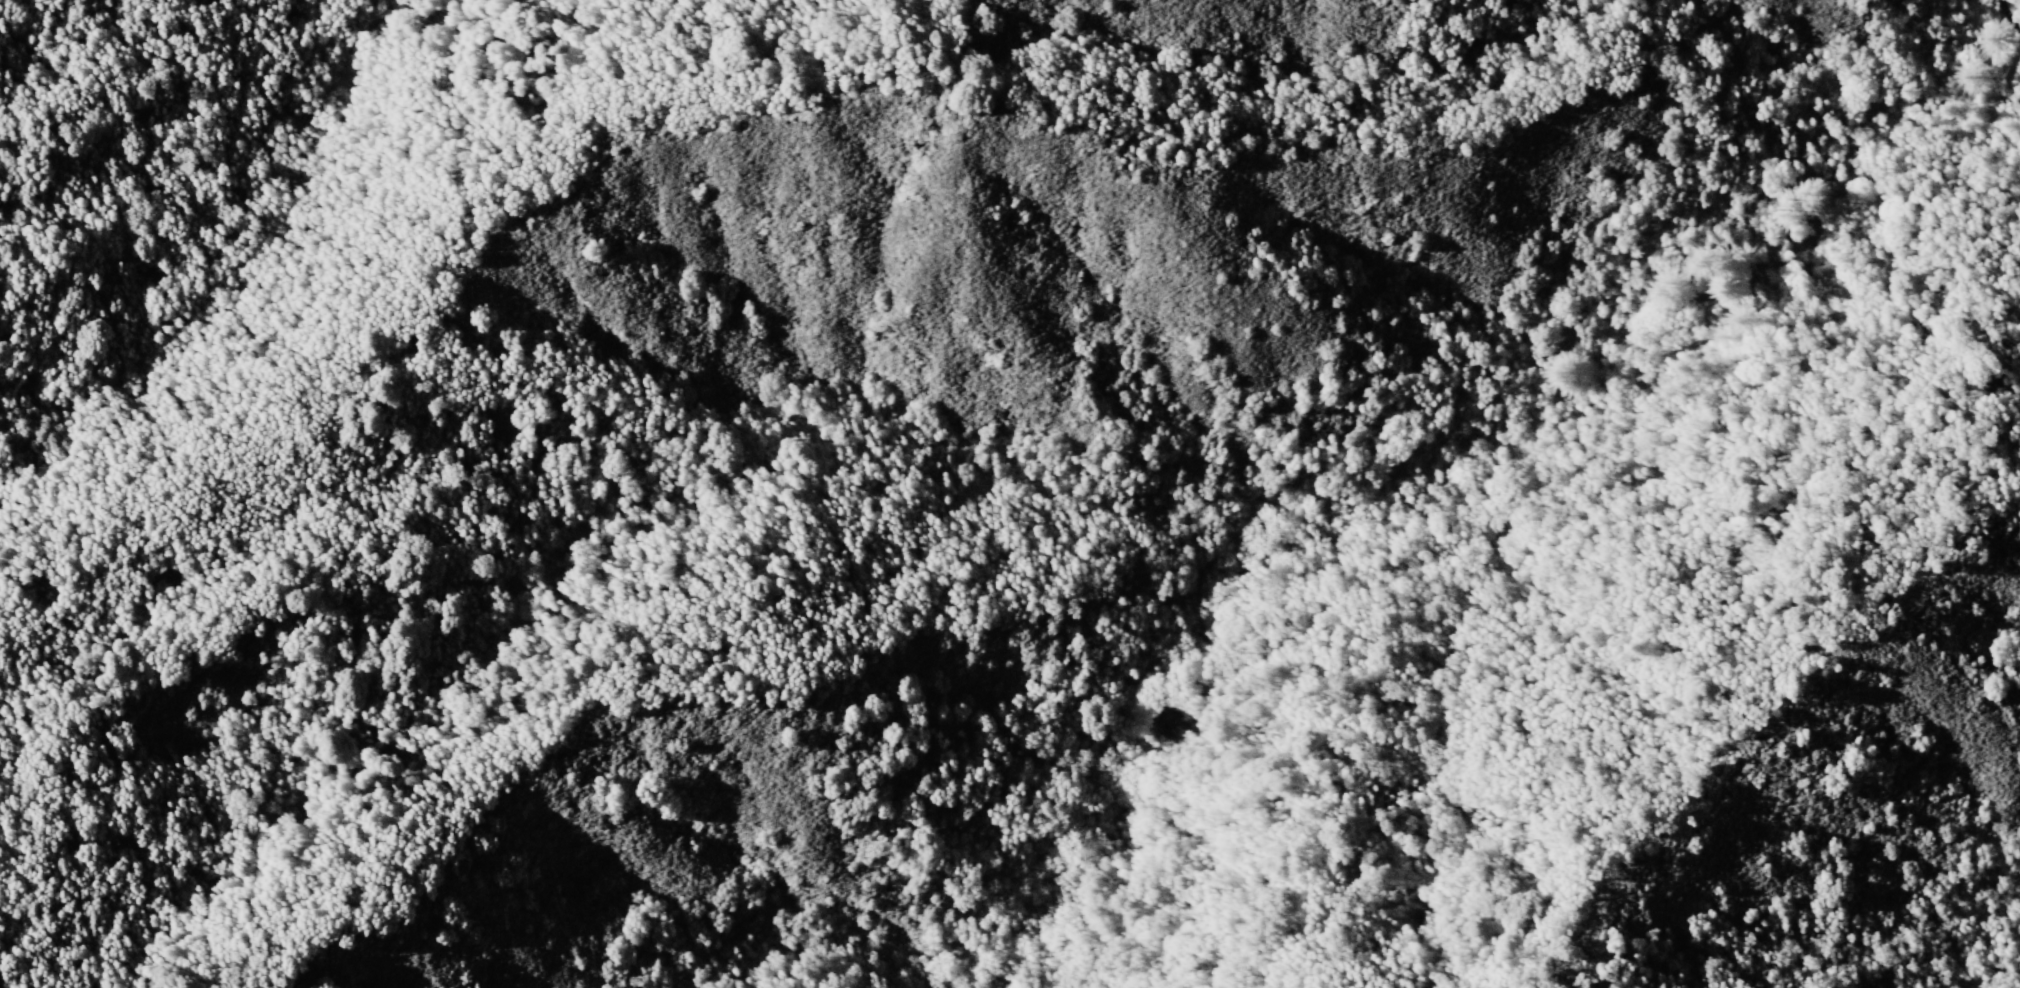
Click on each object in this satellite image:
road: (2016, 7)

